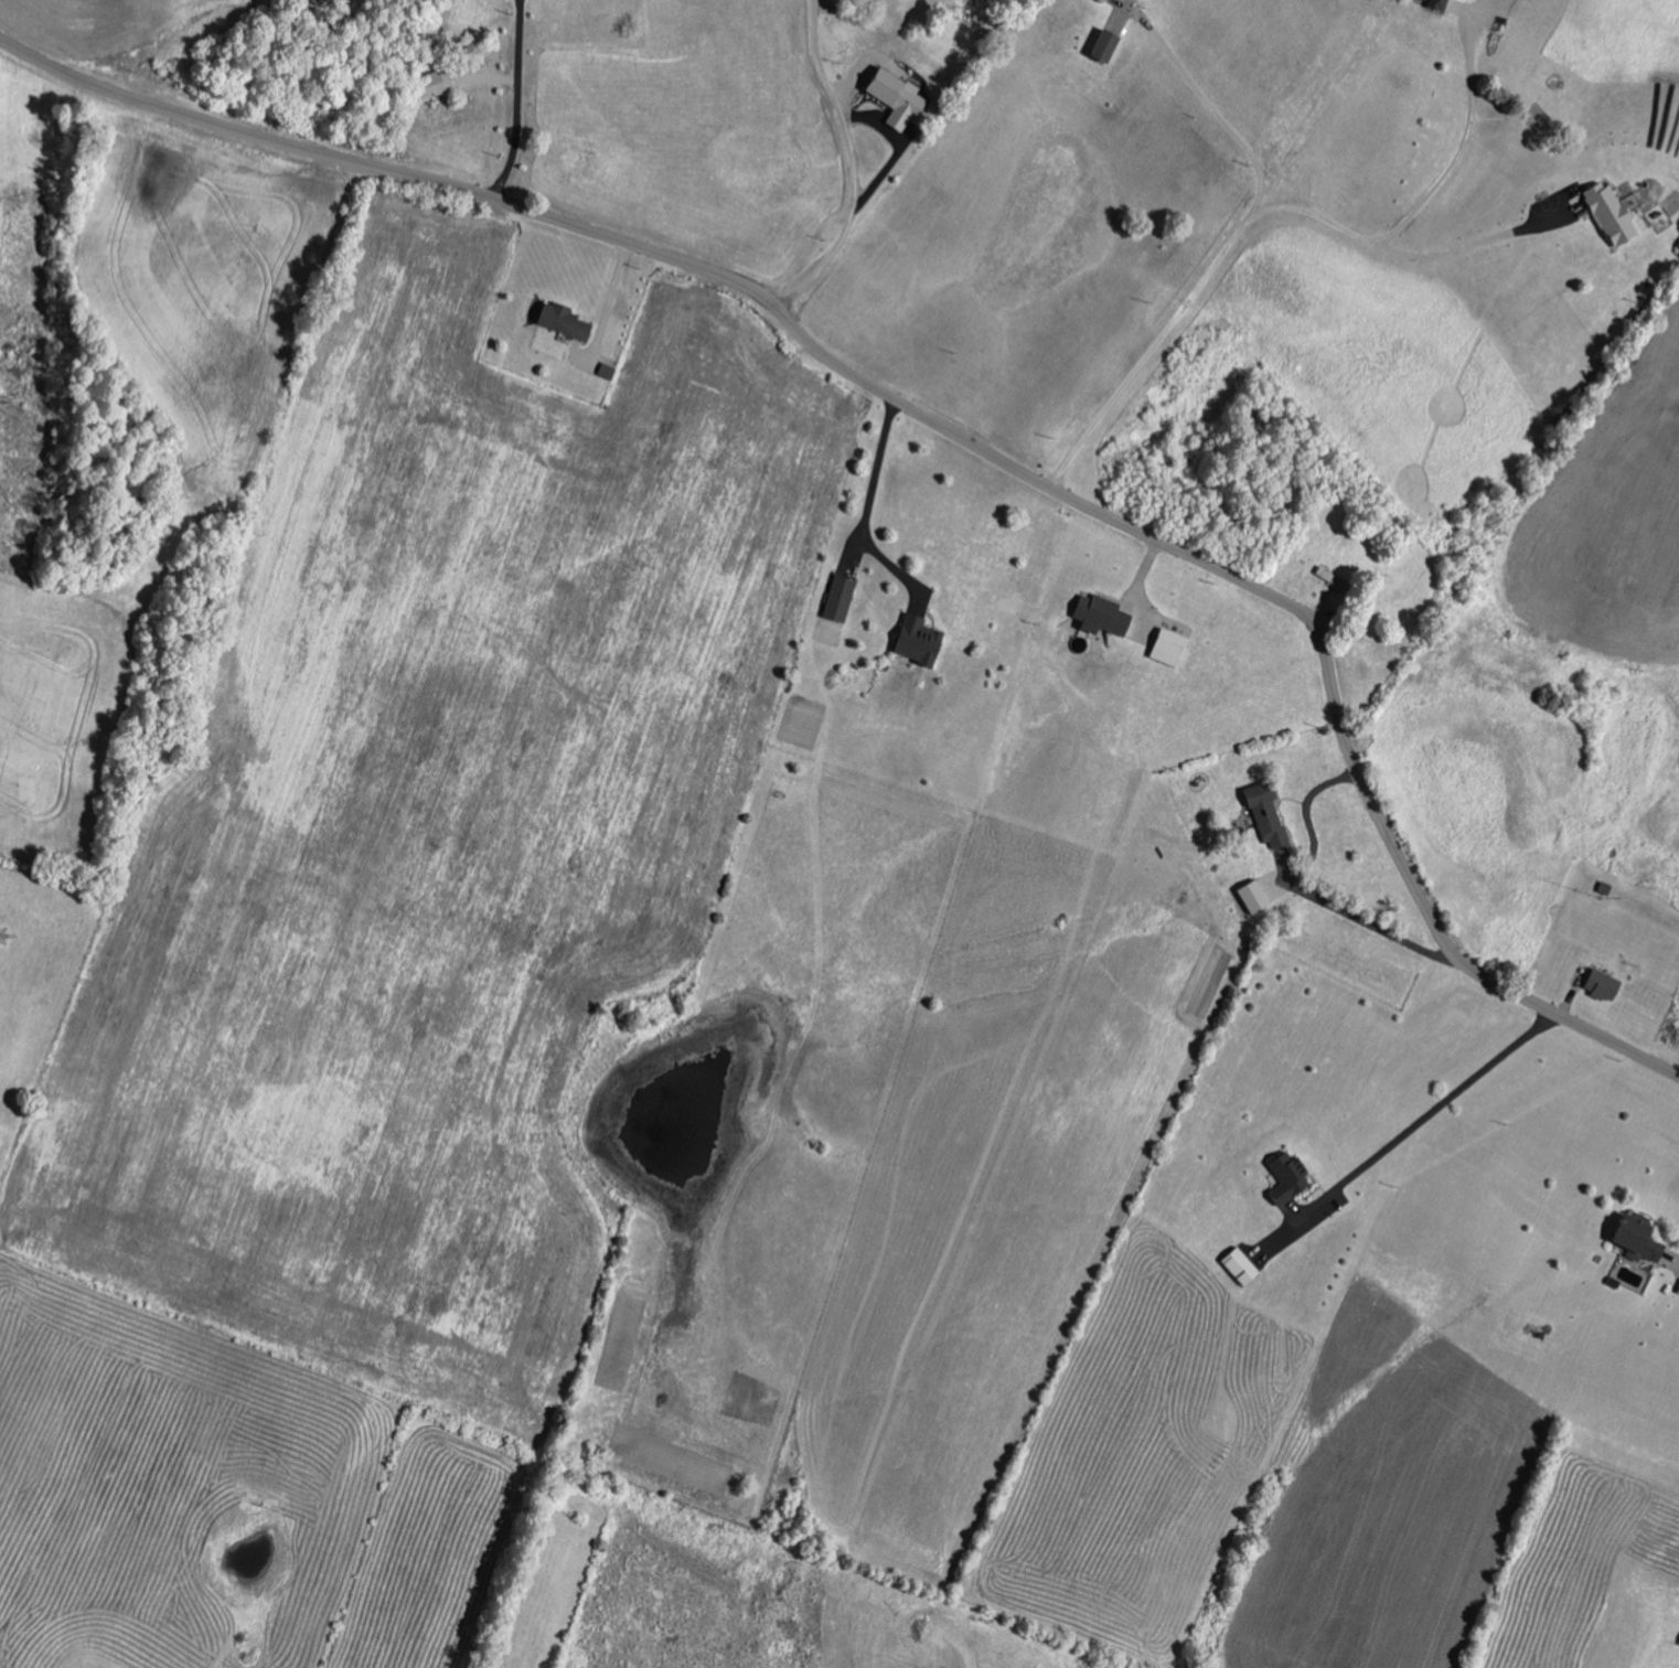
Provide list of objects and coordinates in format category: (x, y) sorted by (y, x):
building: (1442, 4)
building: (1109, 44)
building: (900, 97)
road: (517, 101)
road: (855, 164)
road: (1276, 209)
building: (1614, 213)
road: (1468, 248)
building: (567, 321)
power tower: (19, 426)
road: (943, 428)
road: (869, 505)
building: (842, 598)
building: (1106, 616)
building: (922, 641)
building: (1174, 648)
building: (1262, 812)
building: (1247, 895)
building: (1598, 985)
road: (1430, 1113)
building: (1282, 1176)
building: (1629, 1238)
building: (1236, 1265)
building: (1678, 1642)

